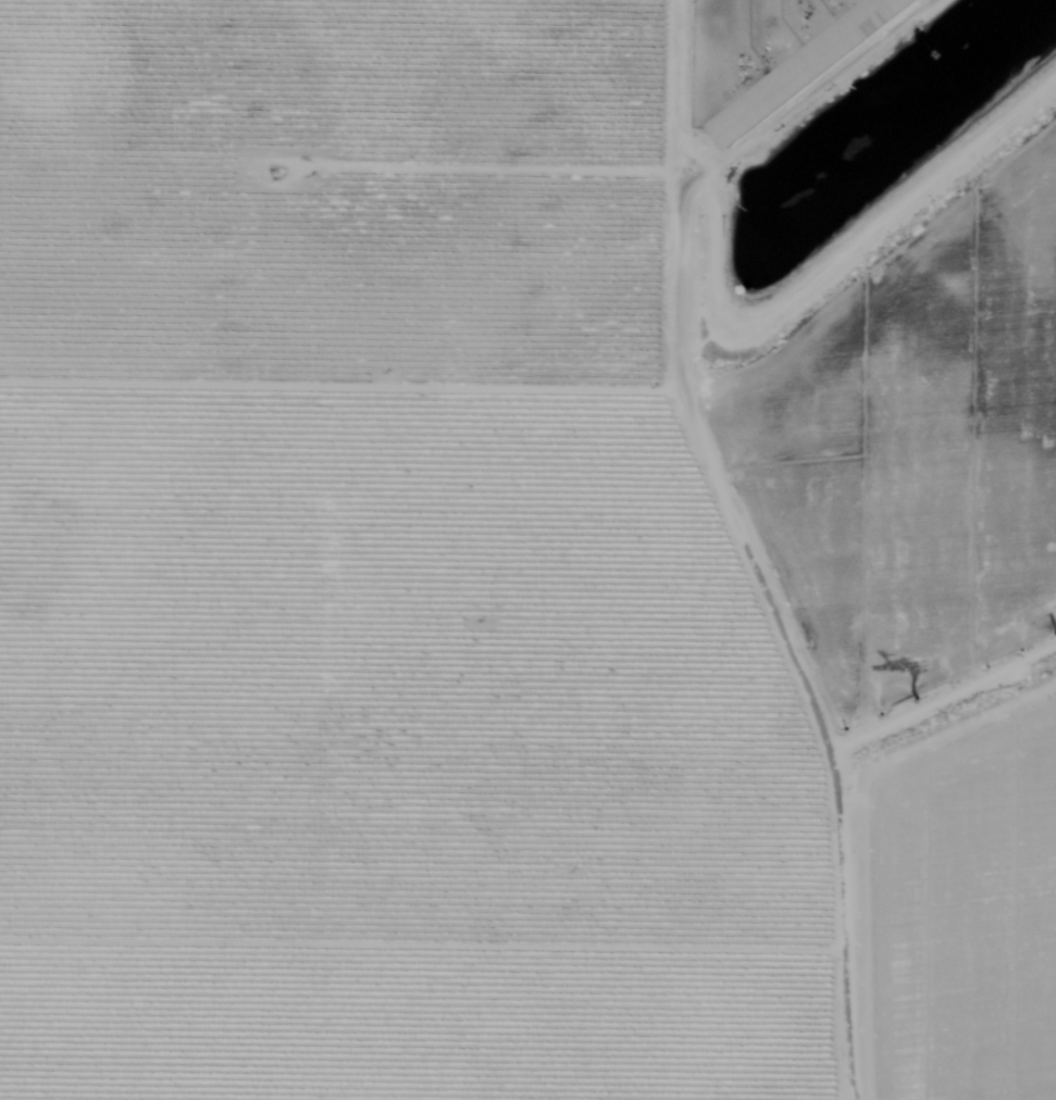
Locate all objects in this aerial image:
building: (807, 68)
crop: (500, 585)

